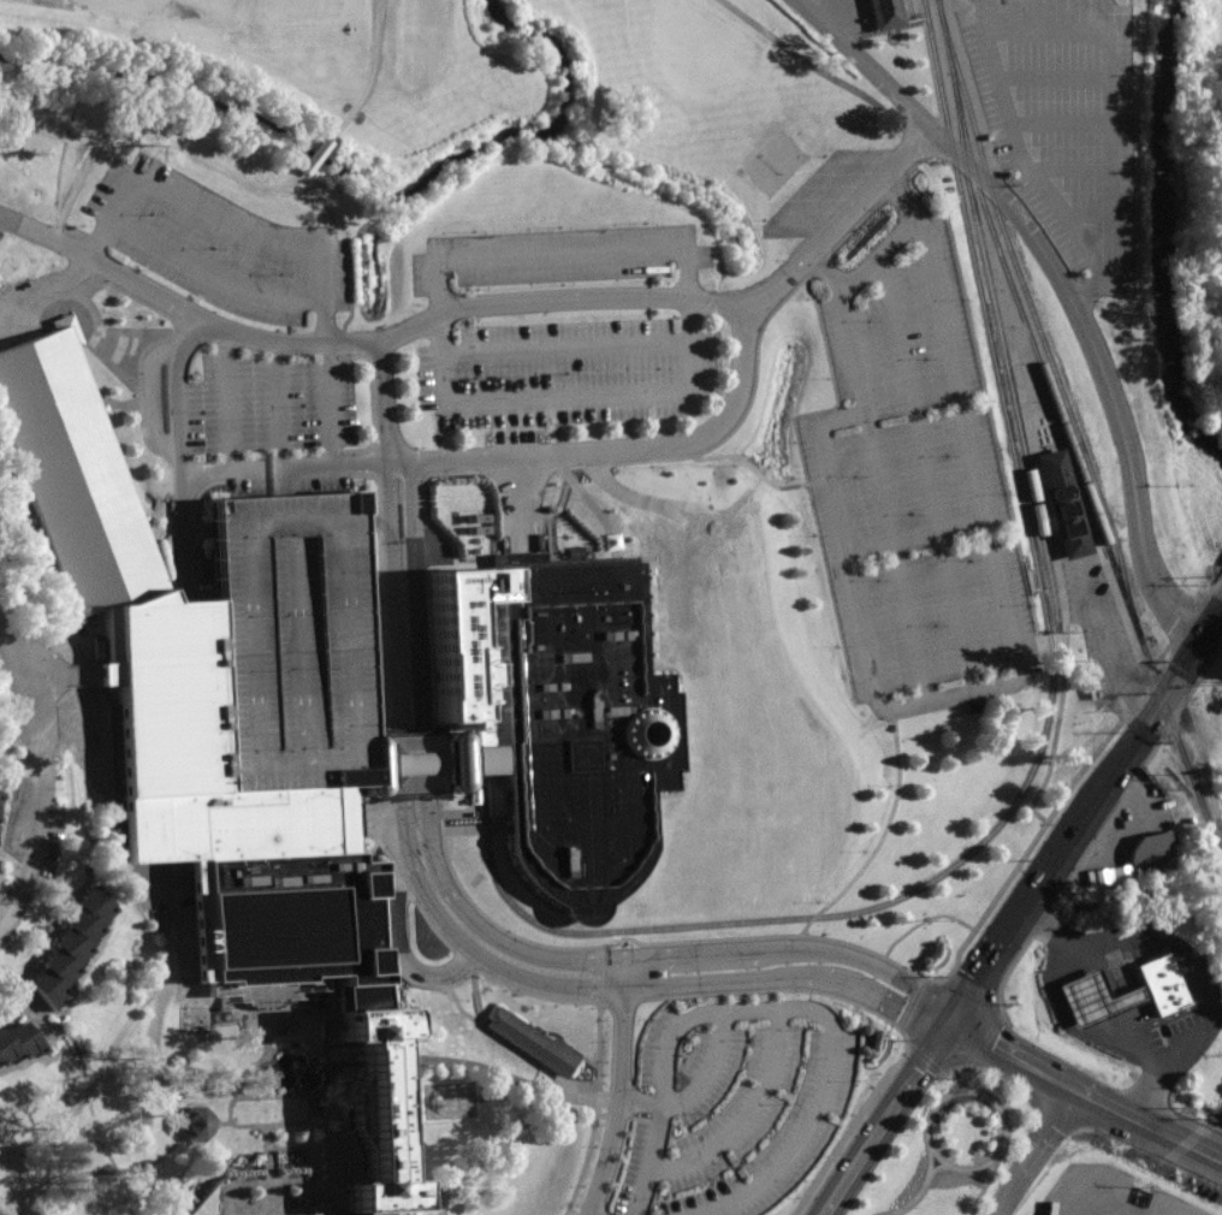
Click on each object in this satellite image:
railway: (908, 11)
building: (886, 13)
park: (182, 64)
road: (819, 71)
road: (368, 82)
road: (52, 128)
road: (154, 134)
road: (312, 158)
park: (771, 162)
road: (901, 201)
road: (844, 221)
road: (225, 229)
river: (1155, 238)
road: (879, 254)
railway: (1129, 263)
road: (827, 273)
road: (212, 277)
road: (1064, 286)
railway: (1025, 289)
road: (41, 300)
road: (937, 306)
railway: (995, 313)
building: (90, 325)
road: (366, 339)
road: (689, 342)
road: (566, 354)
railway: (1039, 360)
road: (176, 391)
road: (227, 399)
road: (384, 401)
road: (278, 403)
road: (150, 404)
road: (328, 404)
road: (886, 405)
road: (512, 455)
road: (929, 470)
building: (71, 475)
road: (395, 476)
parking lot: (913, 486)
road: (885, 493)
road: (1013, 499)
road: (518, 500)
building: (1064, 502)
road: (1046, 503)
road: (183, 533)
building: (291, 640)
road: (404, 656)
road: (17, 681)
road: (950, 693)
road: (1162, 699)
railway: (1168, 717)
building: (576, 719)
building: (196, 749)
road: (1202, 758)
building: (0, 772)
road: (385, 823)
road: (874, 846)
road: (32, 847)
building: (1151, 847)
road: (1026, 902)
building: (283, 919)
road: (481, 943)
building: (70, 944)
road: (1188, 959)
road: (401, 961)
road: (809, 961)
road: (710, 966)
building: (1164, 983)
road: (888, 985)
road: (675, 995)
gas station: (1098, 996)
road: (779, 1004)
road: (1105, 1008)
traffic signals: (950, 1018)
building: (534, 1041)
building: (18, 1043)
road: (699, 1087)
road: (1085, 1089)
road: (956, 1090)
road: (617, 1095)
parking lot: (732, 1104)
road: (593, 1110)
road: (747, 1112)
building: (393, 1113)
road: (885, 1115)
building: (195, 1124)
road: (1038, 1149)
road: (936, 1166)
road: (957, 1167)
parking lot: (603, 1210)

